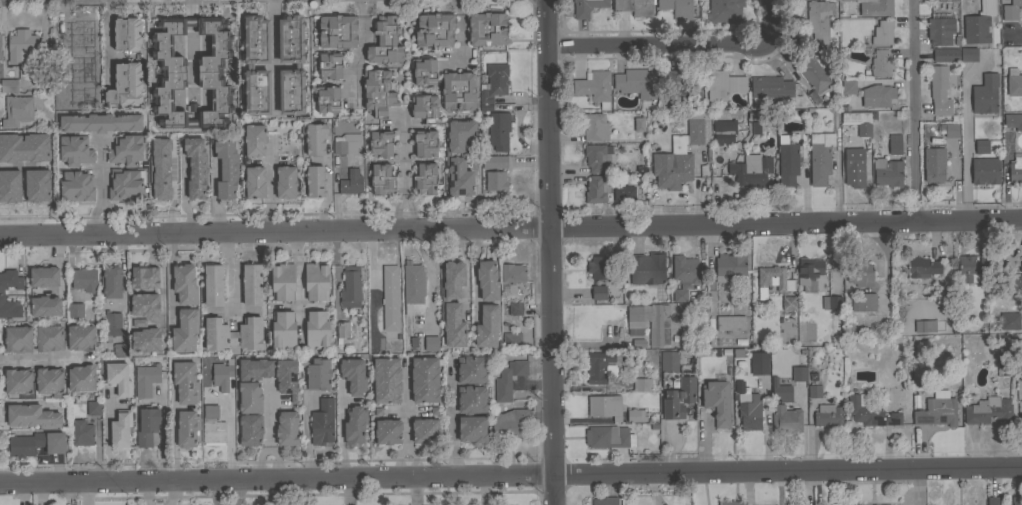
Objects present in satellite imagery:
building: (843, 0)
building: (946, 0)
building: (586, 7)
building: (634, 7)
building: (677, 7)
building: (875, 7)
building: (1011, 9)
building: (725, 10)
building: (818, 19)
building: (978, 23)
building: (487, 28)
building: (434, 29)
building: (940, 30)
building: (337, 31)
building: (881, 33)
building: (127, 34)
road: (1015, 35)
building: (266, 41)
building: (385, 41)
road: (678, 42)
building: (21, 47)
road: (274, 51)
road: (359, 51)
building: (946, 54)
building: (968, 54)
building: (0, 55)
building: (881, 63)
building: (329, 65)
building: (249, 66)
building: (297, 66)
building: (424, 71)
building: (209, 72)
building: (813, 75)
building: (494, 82)
building: (636, 82)
building: (1014, 82)
building: (73, 84)
building: (125, 84)
building: (8, 86)
building: (678, 86)
building: (723, 86)
building: (770, 86)
building: (594, 87)
building: (848, 87)
building: (458, 91)
building: (378, 92)
building: (938, 92)
building: (985, 94)
building: (877, 95)
building: (327, 99)
building: (424, 106)
road: (916, 110)
building: (17, 113)
building: (1013, 120)
building: (855, 121)
building: (100, 122)
building: (639, 124)
building: (594, 127)
building: (499, 130)
building: (948, 130)
building: (724, 131)
road: (965, 137)
building: (254, 139)
building: (315, 139)
building: (380, 143)
building: (425, 143)
building: (893, 144)
building: (18, 145)
building: (345, 145)
building: (980, 146)
building: (75, 150)
building: (127, 150)
road: (403, 150)
building: (154, 152)
building: (678, 154)
building: (458, 157)
building: (597, 157)
building: (819, 157)
building: (494, 161)
building: (787, 161)
building: (852, 162)
building: (195, 165)
building: (932, 165)
building: (226, 167)
building: (1014, 169)
road: (99, 170)
building: (186, 170)
building: (751, 170)
building: (984, 172)
building: (886, 173)
building: (425, 178)
building: (382, 179)
building: (495, 180)
building: (286, 181)
building: (315, 181)
building: (167, 182)
building: (254, 182)
building: (352, 182)
building: (125, 184)
building: (28, 186)
building: (76, 186)
building: (597, 188)
building: (624, 193)
building: (18, 196)
road: (397, 211)
road: (411, 211)
road: (91, 218)
road: (108, 218)
road: (511, 229)
road: (552, 252)
building: (729, 266)
building: (598, 267)
building: (925, 267)
building: (646, 268)
building: (969, 269)
building: (808, 272)
building: (512, 273)
building: (860, 273)
building: (683, 275)
building: (44, 276)
building: (144, 277)
building: (84, 279)
building: (316, 280)
building: (487, 280)
building: (773, 280)
building: (1010, 280)
building: (282, 281)
building: (112, 282)
building: (185, 283)
building: (251, 284)
road: (298, 284)
building: (213, 285)
building: (412, 285)
road: (160, 286)
building: (350, 288)
building: (1, 291)
building: (598, 292)
building: (390, 297)
building: (788, 302)
building: (863, 302)
building: (834, 303)
building: (145, 304)
building: (452, 304)
building: (45, 305)
building: (515, 308)
building: (75, 311)
building: (1009, 320)
building: (650, 322)
building: (730, 322)
building: (112, 324)
building: (487, 325)
building: (923, 327)
building: (316, 329)
building: (343, 329)
building: (185, 330)
building: (282, 330)
building: (809, 331)
building: (233, 333)
building: (18, 338)
building: (48, 338)
building: (145, 339)
building: (511, 340)
building: (413, 341)
building: (431, 343)
building: (119, 349)
building: (412, 349)
road: (40, 357)
building: (669, 361)
building: (759, 362)
building: (1005, 362)
building: (600, 367)
building: (272, 373)
building: (798, 373)
building: (222, 374)
building: (318, 374)
building: (353, 374)
building: (81, 377)
building: (118, 378)
building: (506, 378)
building: (146, 379)
building: (386, 379)
building: (424, 379)
building: (18, 381)
building: (185, 382)
building: (640, 385)
building: (780, 390)
building: (814, 390)
building: (250, 397)
building: (678, 397)
building: (471, 398)
building: (716, 402)
building: (605, 405)
building: (93, 407)
building: (747, 408)
building: (1021, 408)
building: (937, 409)
building: (987, 410)
building: (870, 411)
road: (268, 414)
building: (635, 415)
building: (828, 415)
building: (31, 416)
road: (450, 418)
building: (786, 419)
road: (406, 420)
building: (322, 421)
building: (509, 422)
building: (147, 425)
building: (355, 425)
building: (213, 426)
building: (187, 428)
building: (287, 428)
building: (120, 429)
building: (250, 429)
building: (178, 430)
building: (425, 430)
building: (388, 431)
building: (82, 432)
road: (173, 434)
building: (608, 437)
building: (36, 443)
road: (267, 445)
road: (510, 476)
road: (919, 488)
road: (954, 488)
road: (415, 491)
road: (286, 492)
road: (347, 492)
road: (87, 494)
road: (168, 494)
road: (214, 494)
road: (237, 494)
building: (995, 500)
building: (1016, 500)
building: (605, 501)
building: (732, 502)
building: (880, 504)

